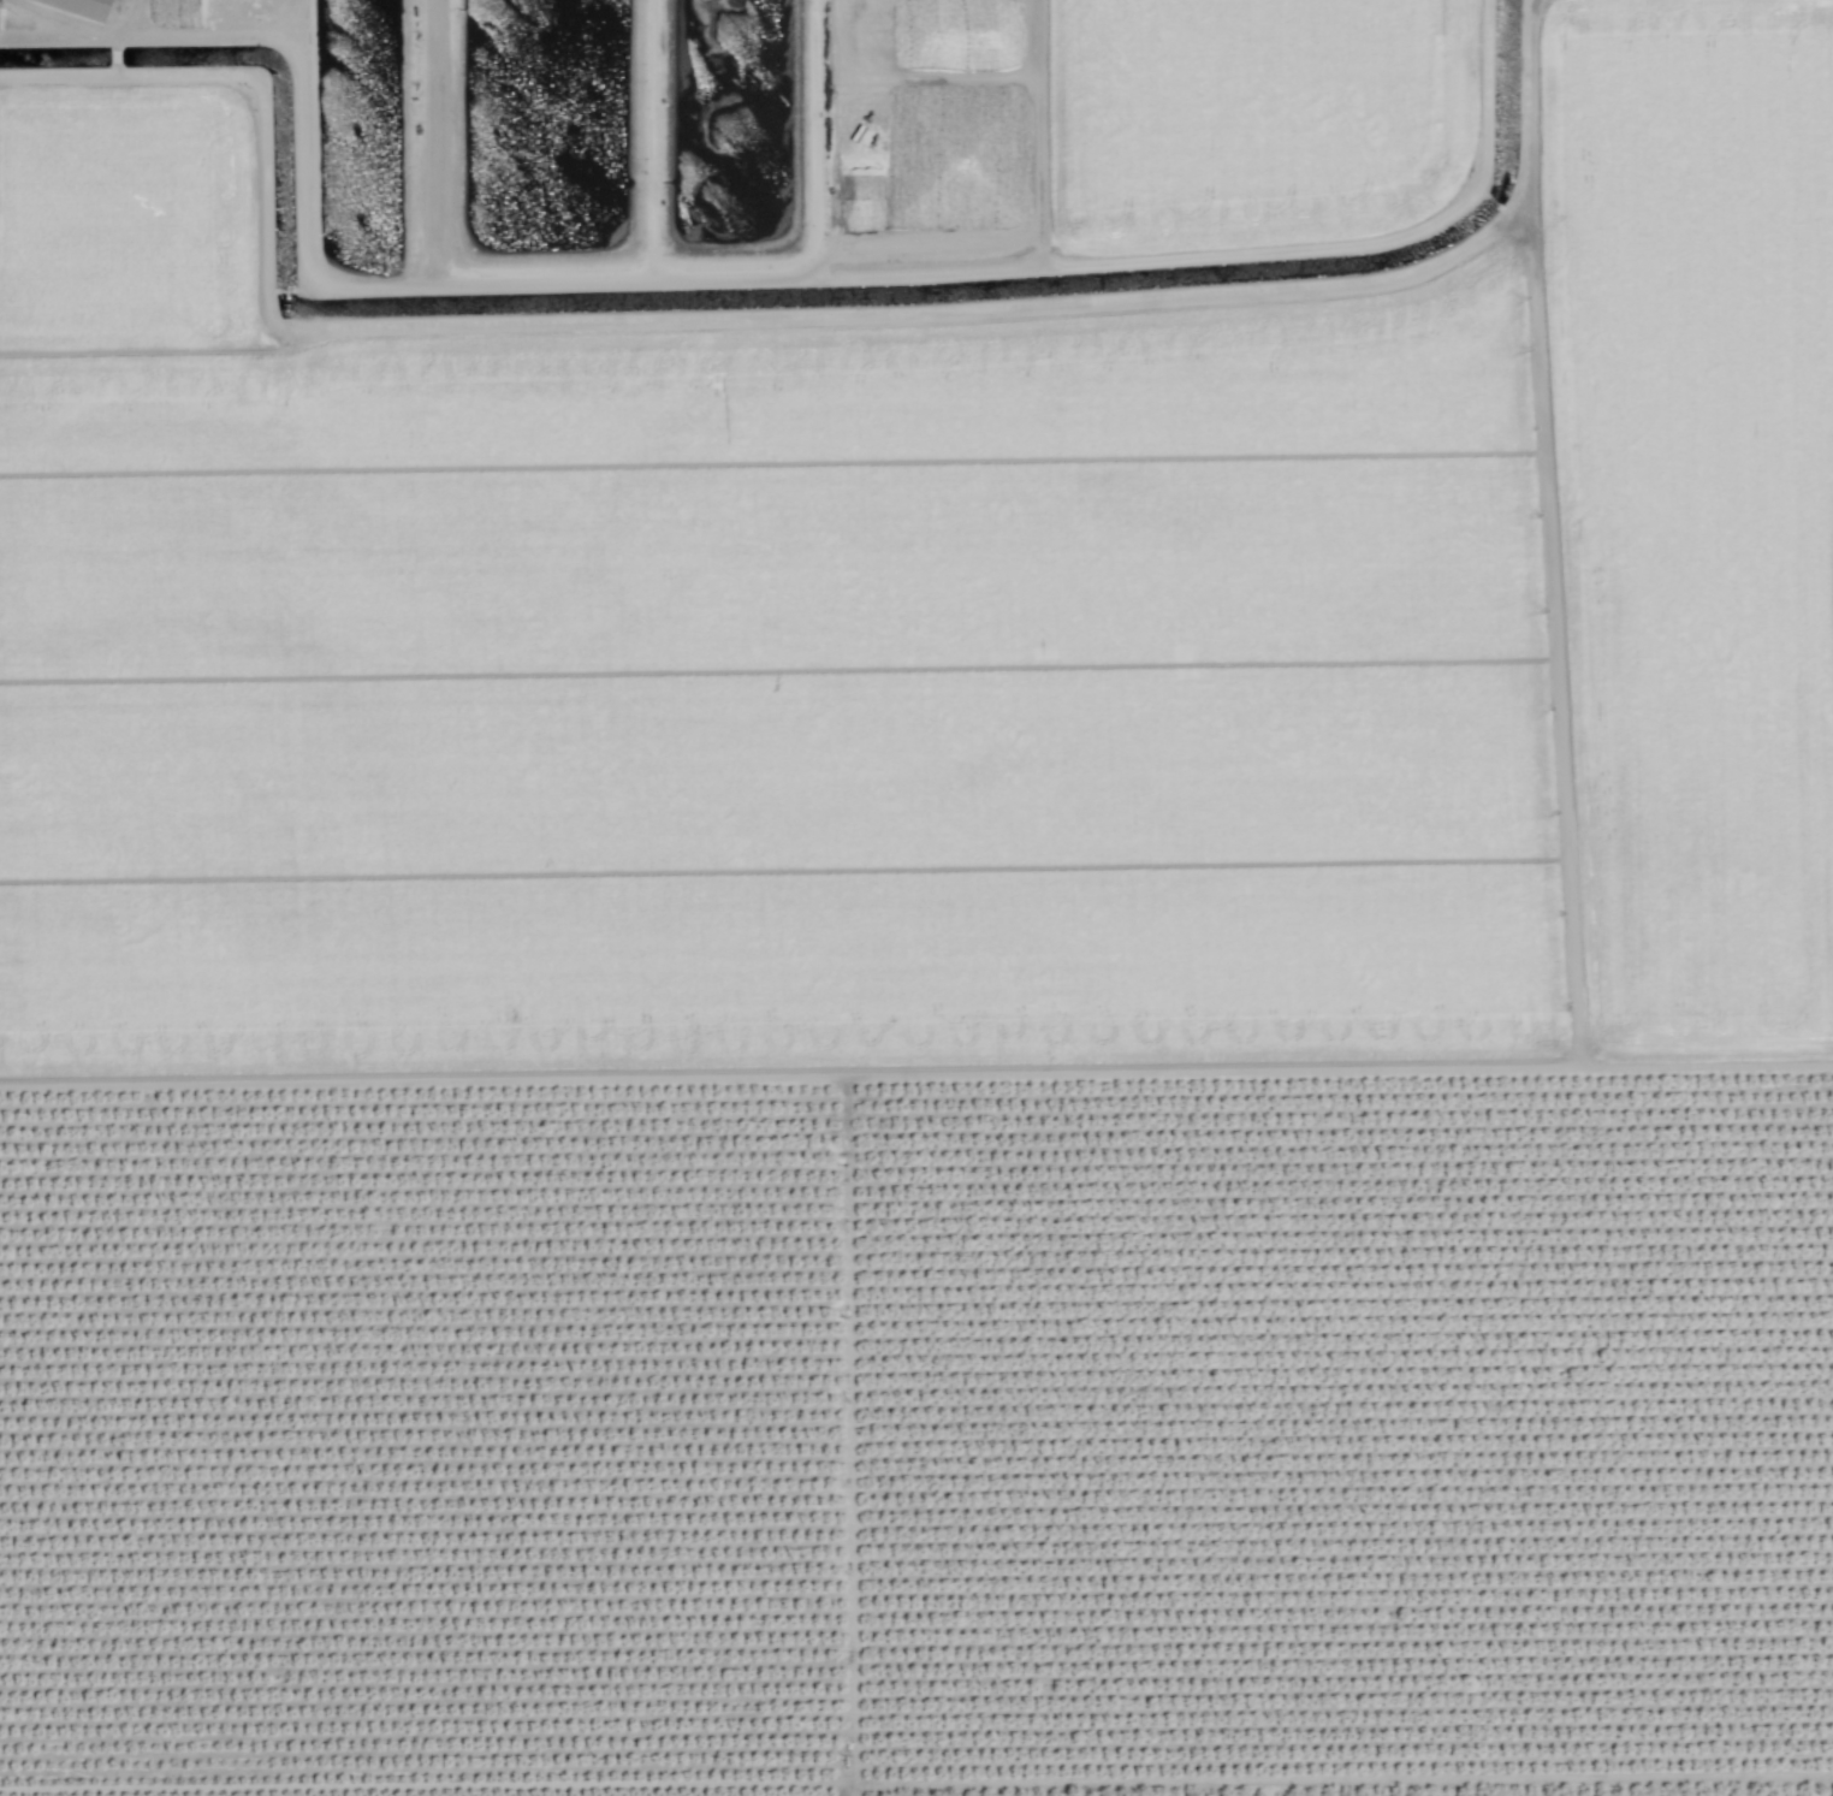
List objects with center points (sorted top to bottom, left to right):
building: (77, 7)
building: (1008, 7)
road: (301, 29)
road: (352, 281)

